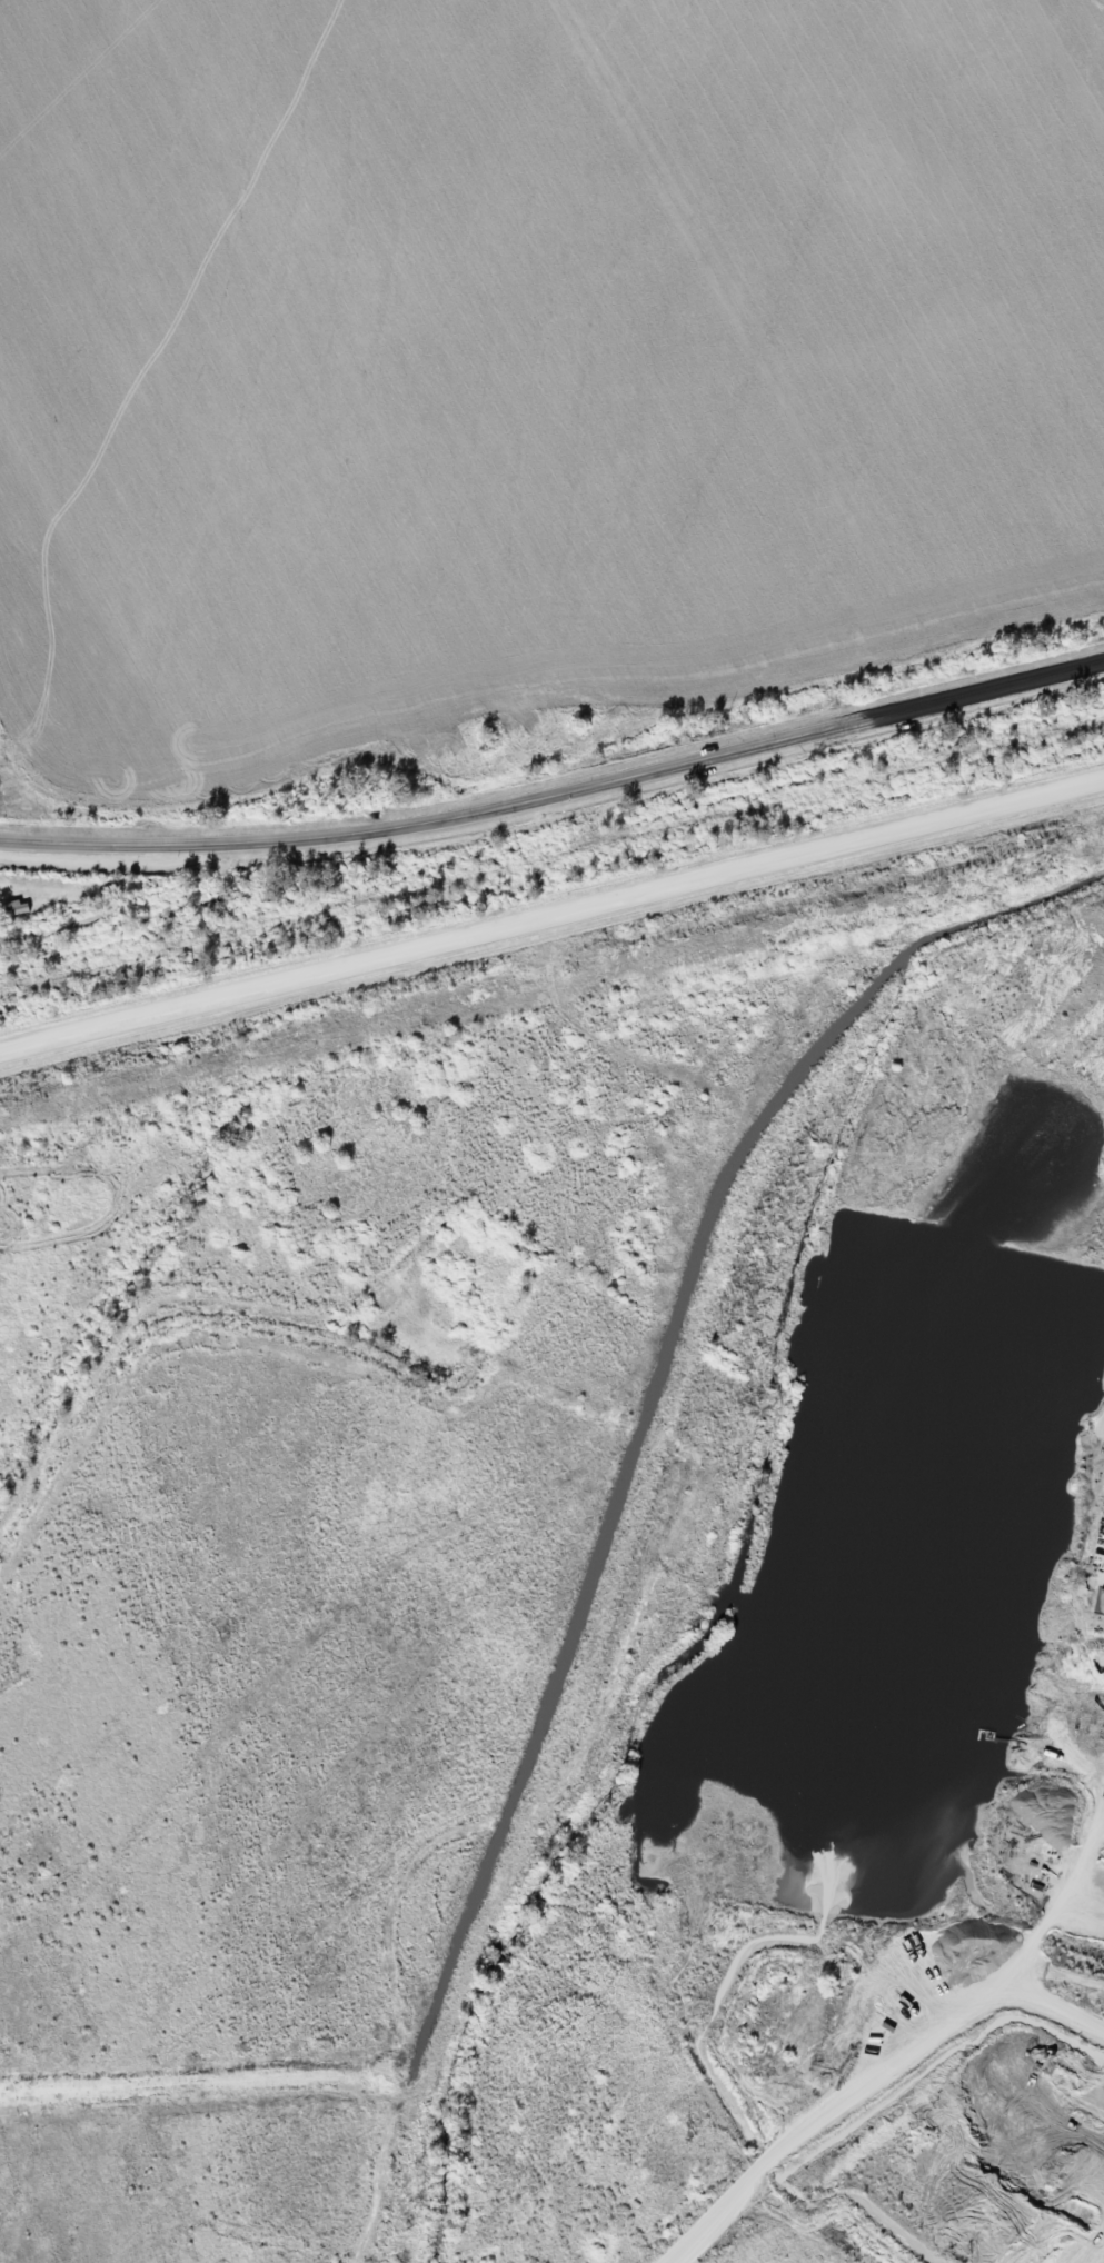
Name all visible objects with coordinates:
road: (557, 790)
railway: (551, 855)
building: (21, 908)
road: (551, 915)
road: (131, 1326)
road: (911, 2032)

